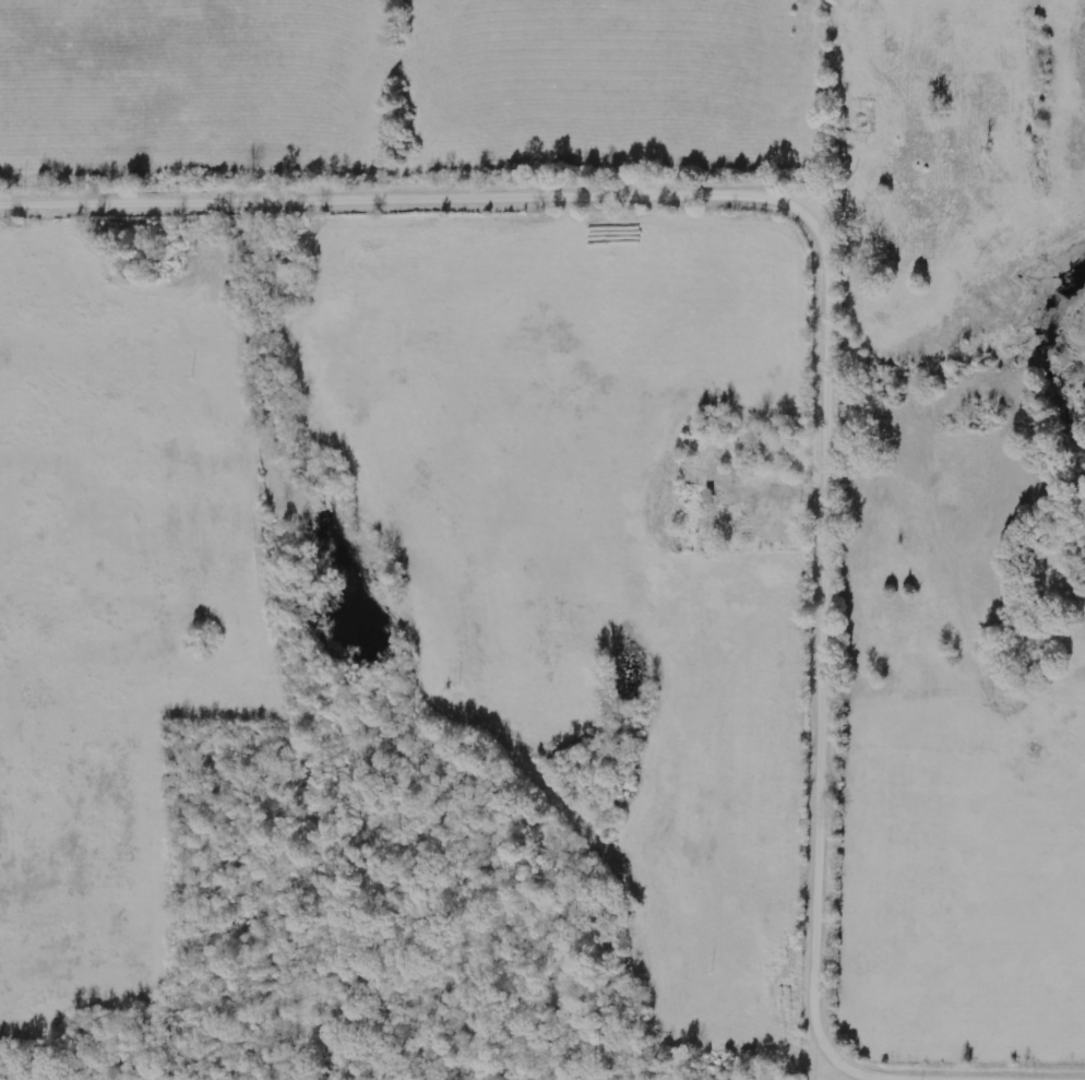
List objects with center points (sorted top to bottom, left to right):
road: (833, 257)

